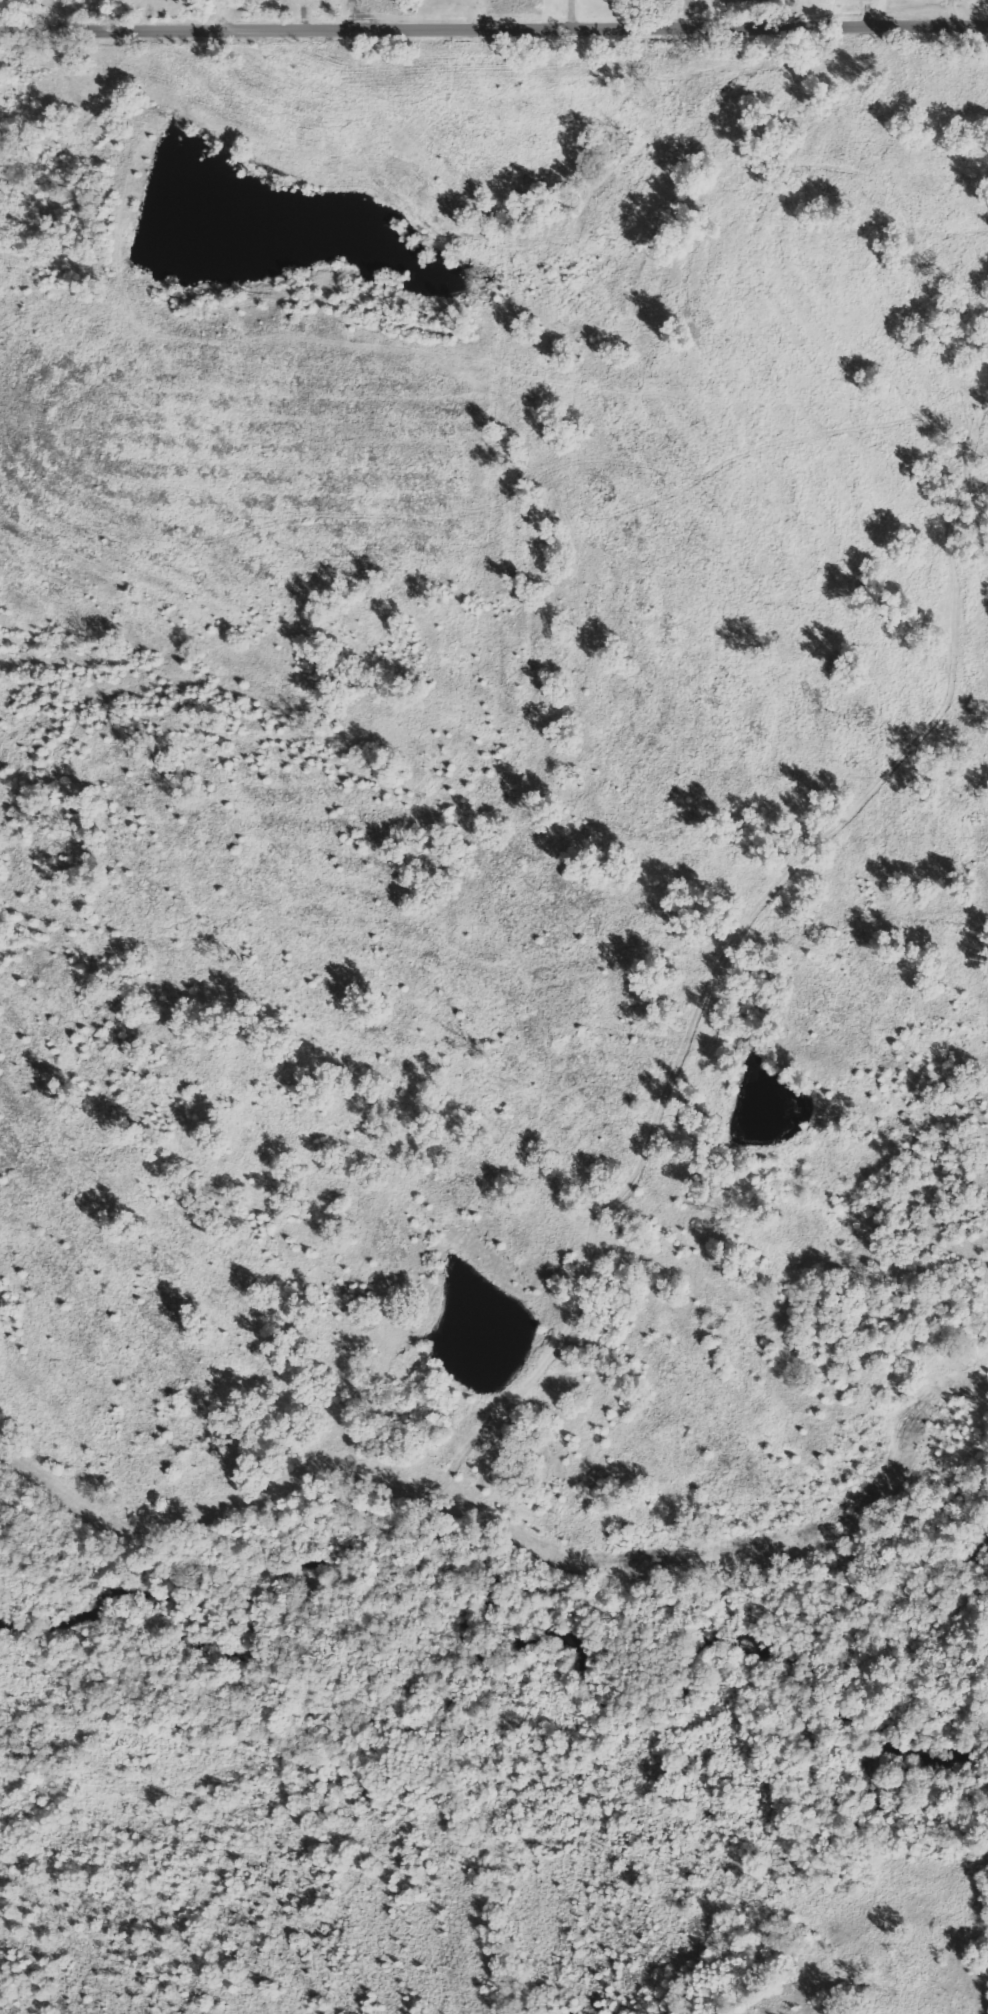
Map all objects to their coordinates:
road: (493, 27)

